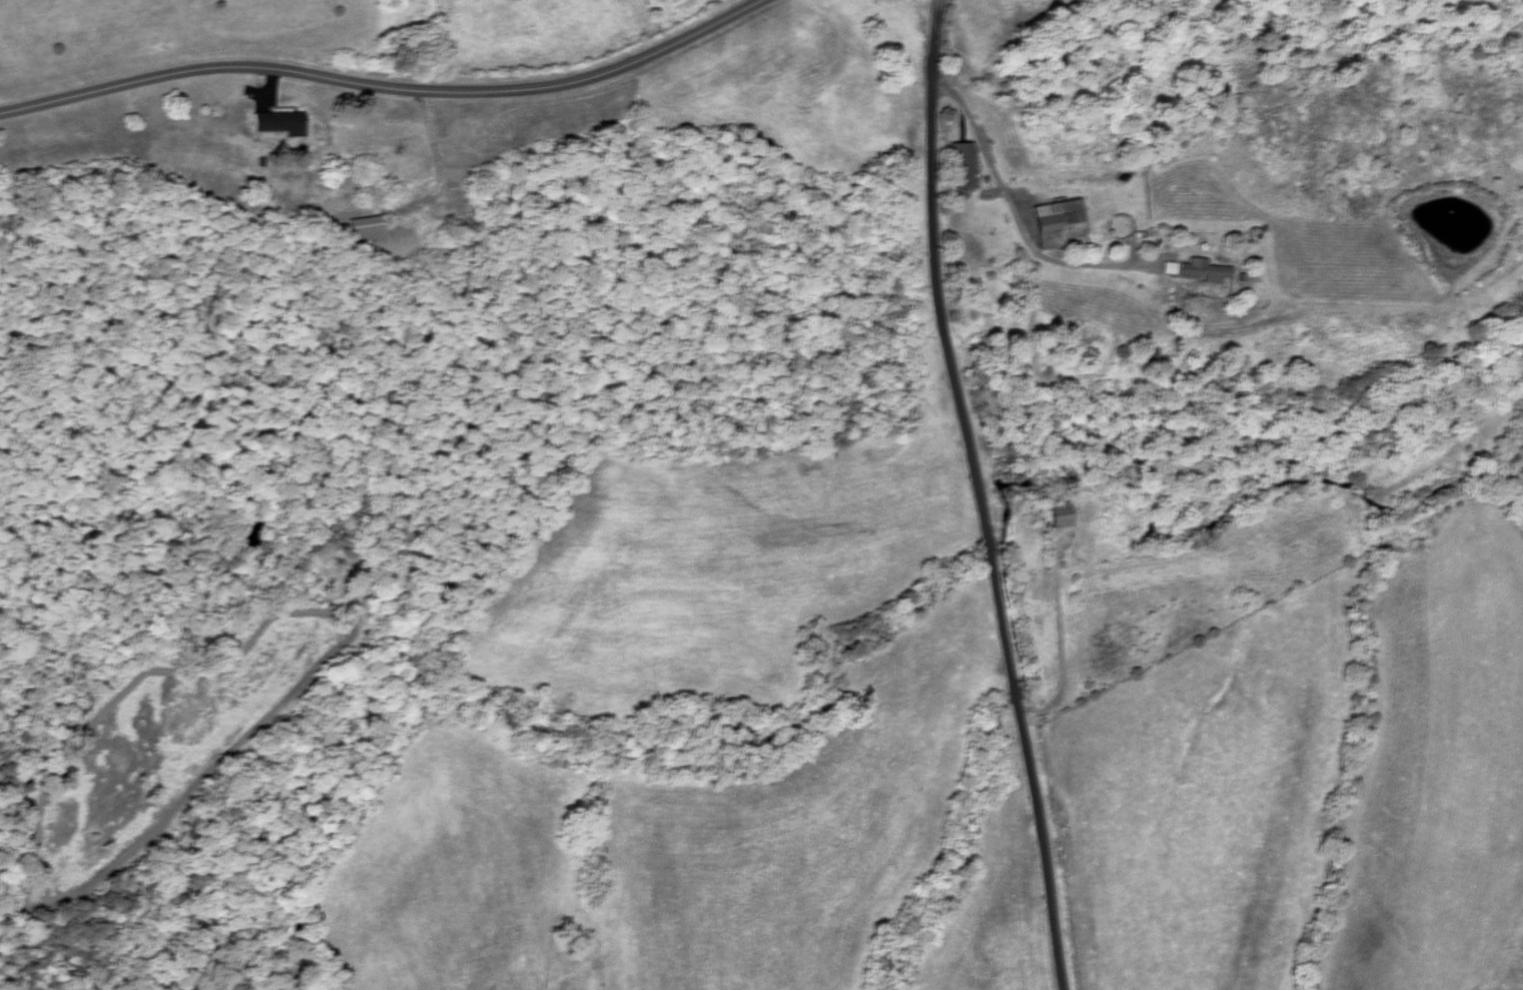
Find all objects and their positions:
road: (389, 86)
building: (279, 124)
building: (964, 166)
building: (1062, 224)
building: (368, 232)
building: (1206, 272)
road: (983, 496)
building: (1062, 517)

